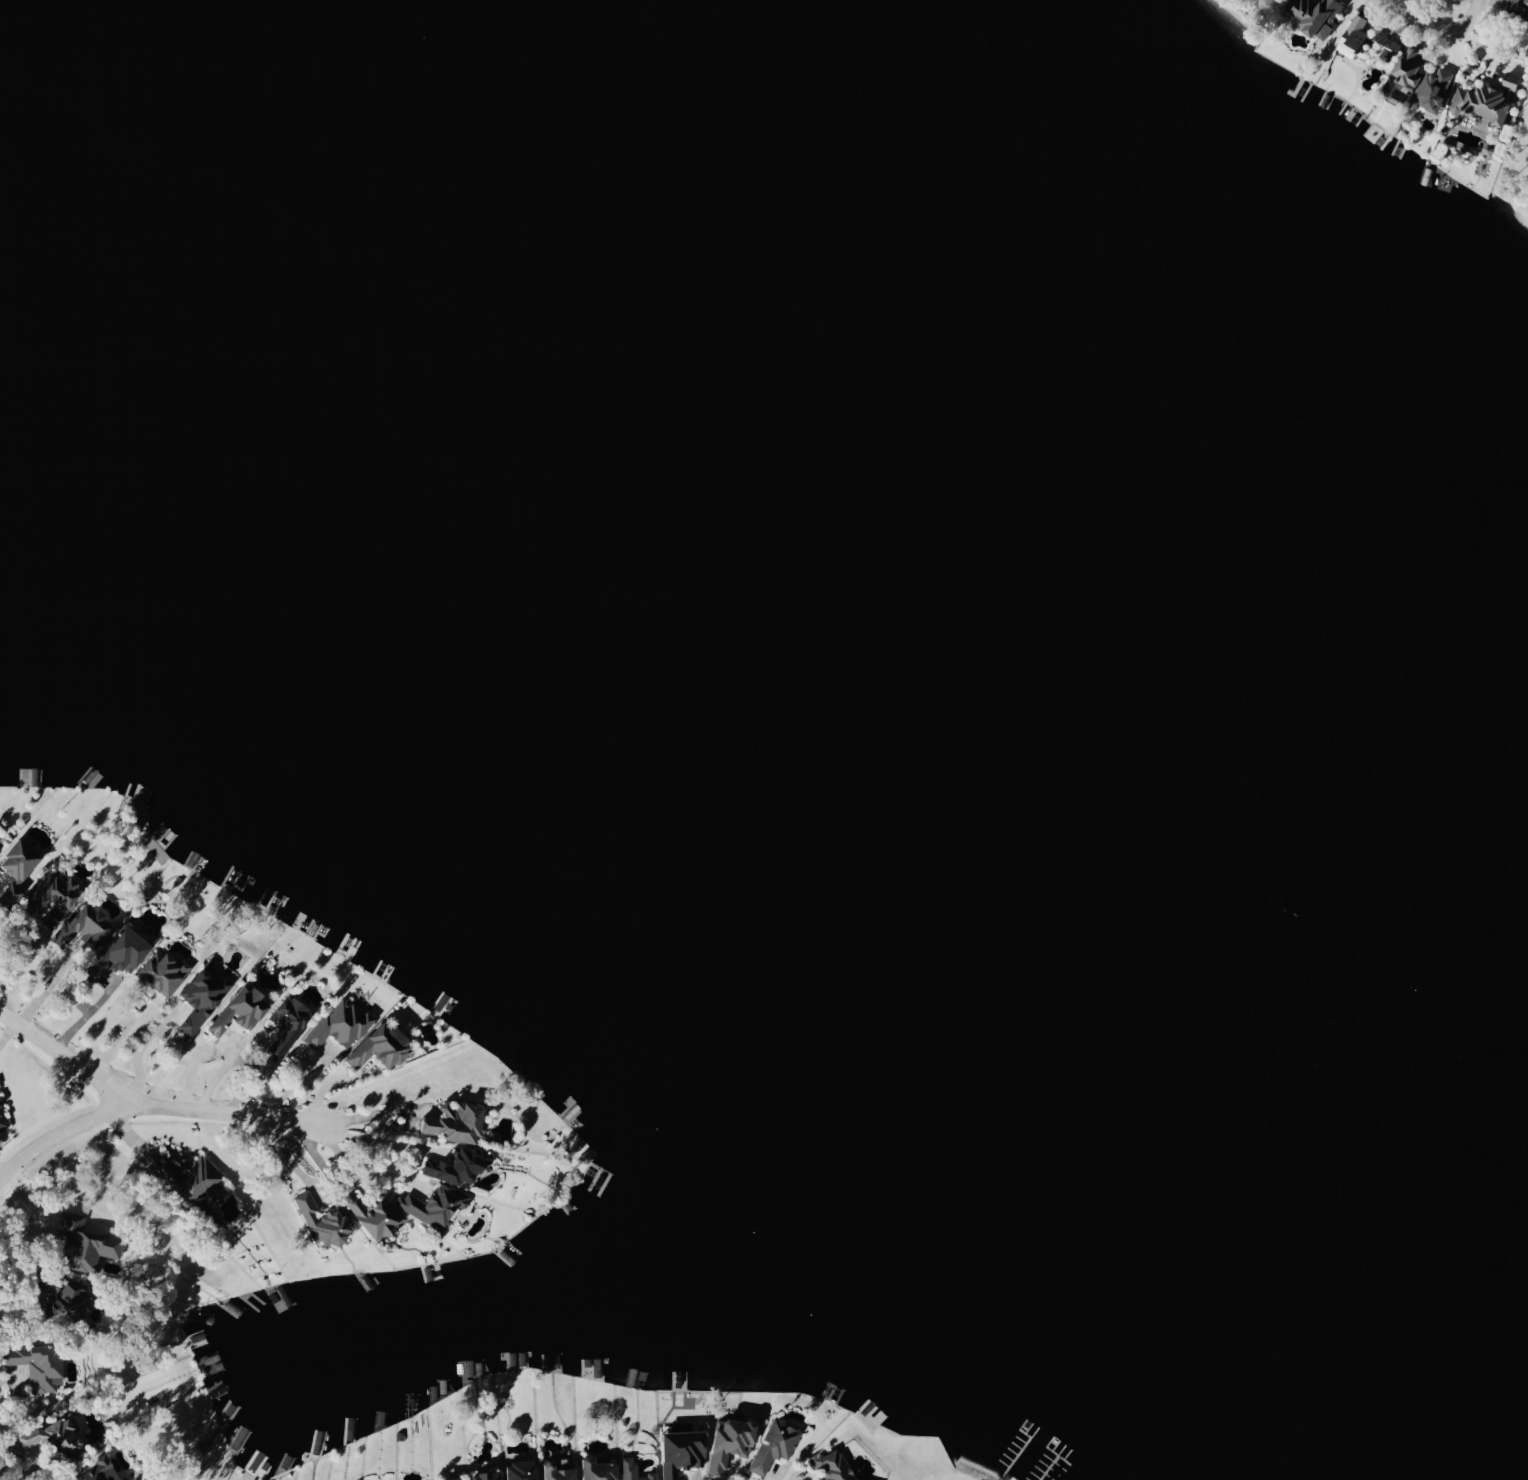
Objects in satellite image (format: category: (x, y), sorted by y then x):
building: (1521, 2)
building: (1317, 15)
road: (1429, 17)
road: (1470, 17)
building: (1357, 38)
building: (1425, 80)
building: (1485, 116)
park: (1518, 172)
building: (20, 867)
building: (55, 896)
building: (85, 927)
building: (122, 952)
building: (167, 971)
building: (203, 998)
building: (243, 1009)
building: (290, 1022)
building: (342, 1024)
road: (126, 1035)
building: (384, 1046)
road: (71, 1049)
road: (144, 1055)
road: (197, 1062)
road: (149, 1106)
building: (4, 1117)
building: (458, 1121)
road: (372, 1142)
building: (458, 1165)
building: (194, 1178)
building: (436, 1205)
building: (376, 1216)
building: (324, 1221)
building: (88, 1243)
building: (75, 1299)
building: (39, 1365)
road: (15, 1377)
building: (54, 1435)
building: (732, 1442)
building: (776, 1444)
building: (684, 1451)
building: (836, 1466)
building: (600, 1469)
building: (103, 1470)
building: (524, 1470)
building: (562, 1470)
road: (727, 1470)
building: (636, 1471)
building: (489, 1475)
building: (455, 1479)

